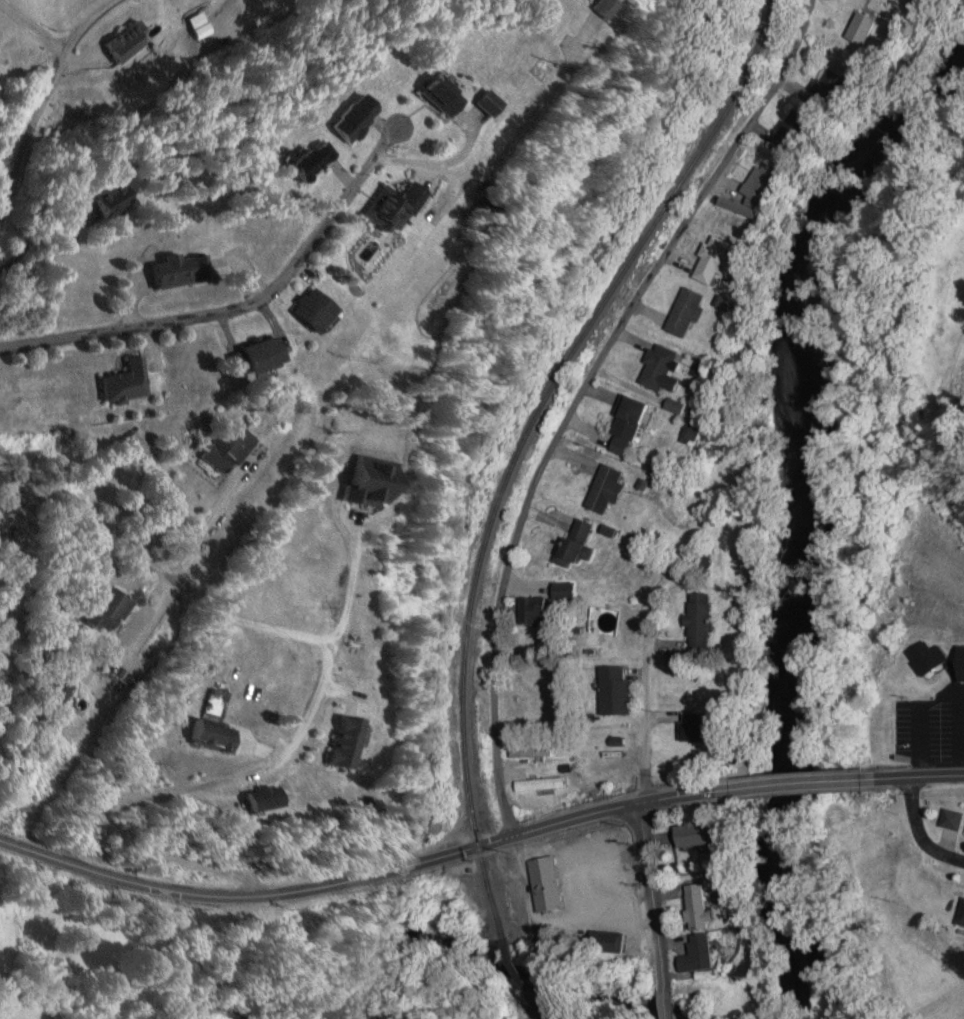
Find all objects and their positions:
building: (620, 7)
road: (33, 27)
building: (865, 27)
building: (129, 41)
power tower: (549, 68)
building: (834, 85)
road: (45, 95)
building: (446, 96)
building: (496, 104)
building: (360, 118)
building: (794, 132)
building: (314, 162)
building: (766, 181)
building: (115, 199)
building: (399, 206)
building: (717, 259)
building: (182, 271)
road: (241, 306)
building: (318, 309)
building: (690, 311)
building: (265, 355)
power tower: (339, 355)
building: (665, 369)
building: (126, 383)
road: (580, 395)
building: (636, 424)
railway: (526, 441)
building: (229, 447)
building: (377, 483)
building: (612, 489)
river: (818, 516)
building: (585, 543)
building: (567, 594)
building: (110, 610)
building: (538, 610)
building: (705, 616)
building: (927, 657)
building: (961, 673)
power tower: (111, 676)
building: (619, 690)
building: (61, 692)
road: (316, 708)
road: (648, 723)
building: (702, 728)
building: (218, 736)
building: (356, 743)
building: (535, 752)
road: (917, 774)
road: (797, 781)
building: (545, 784)
building: (273, 800)
road: (927, 826)
building: (702, 833)
road: (363, 877)
building: (549, 883)
building: (702, 906)
road: (654, 913)
building: (613, 940)
building: (703, 953)
railway: (521, 964)
railway: (538, 1006)

